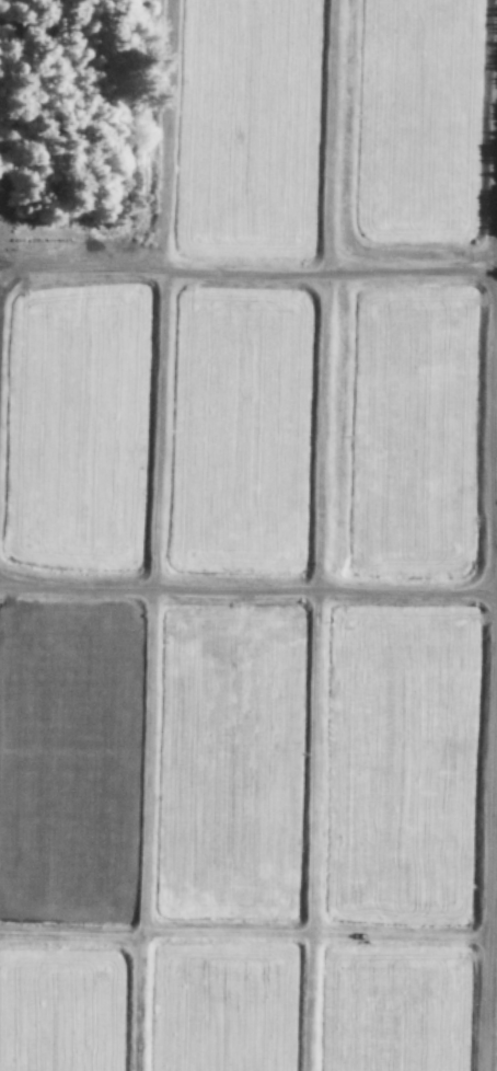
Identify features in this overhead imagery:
crop: (413, 128)
crop: (248, 130)
crop: (77, 434)
crop: (239, 436)
crop: (406, 436)
crop: (229, 767)
crop: (65, 768)
crop: (398, 770)
crop: (221, 1007)
crop: (394, 1010)
crop: (61, 1013)

